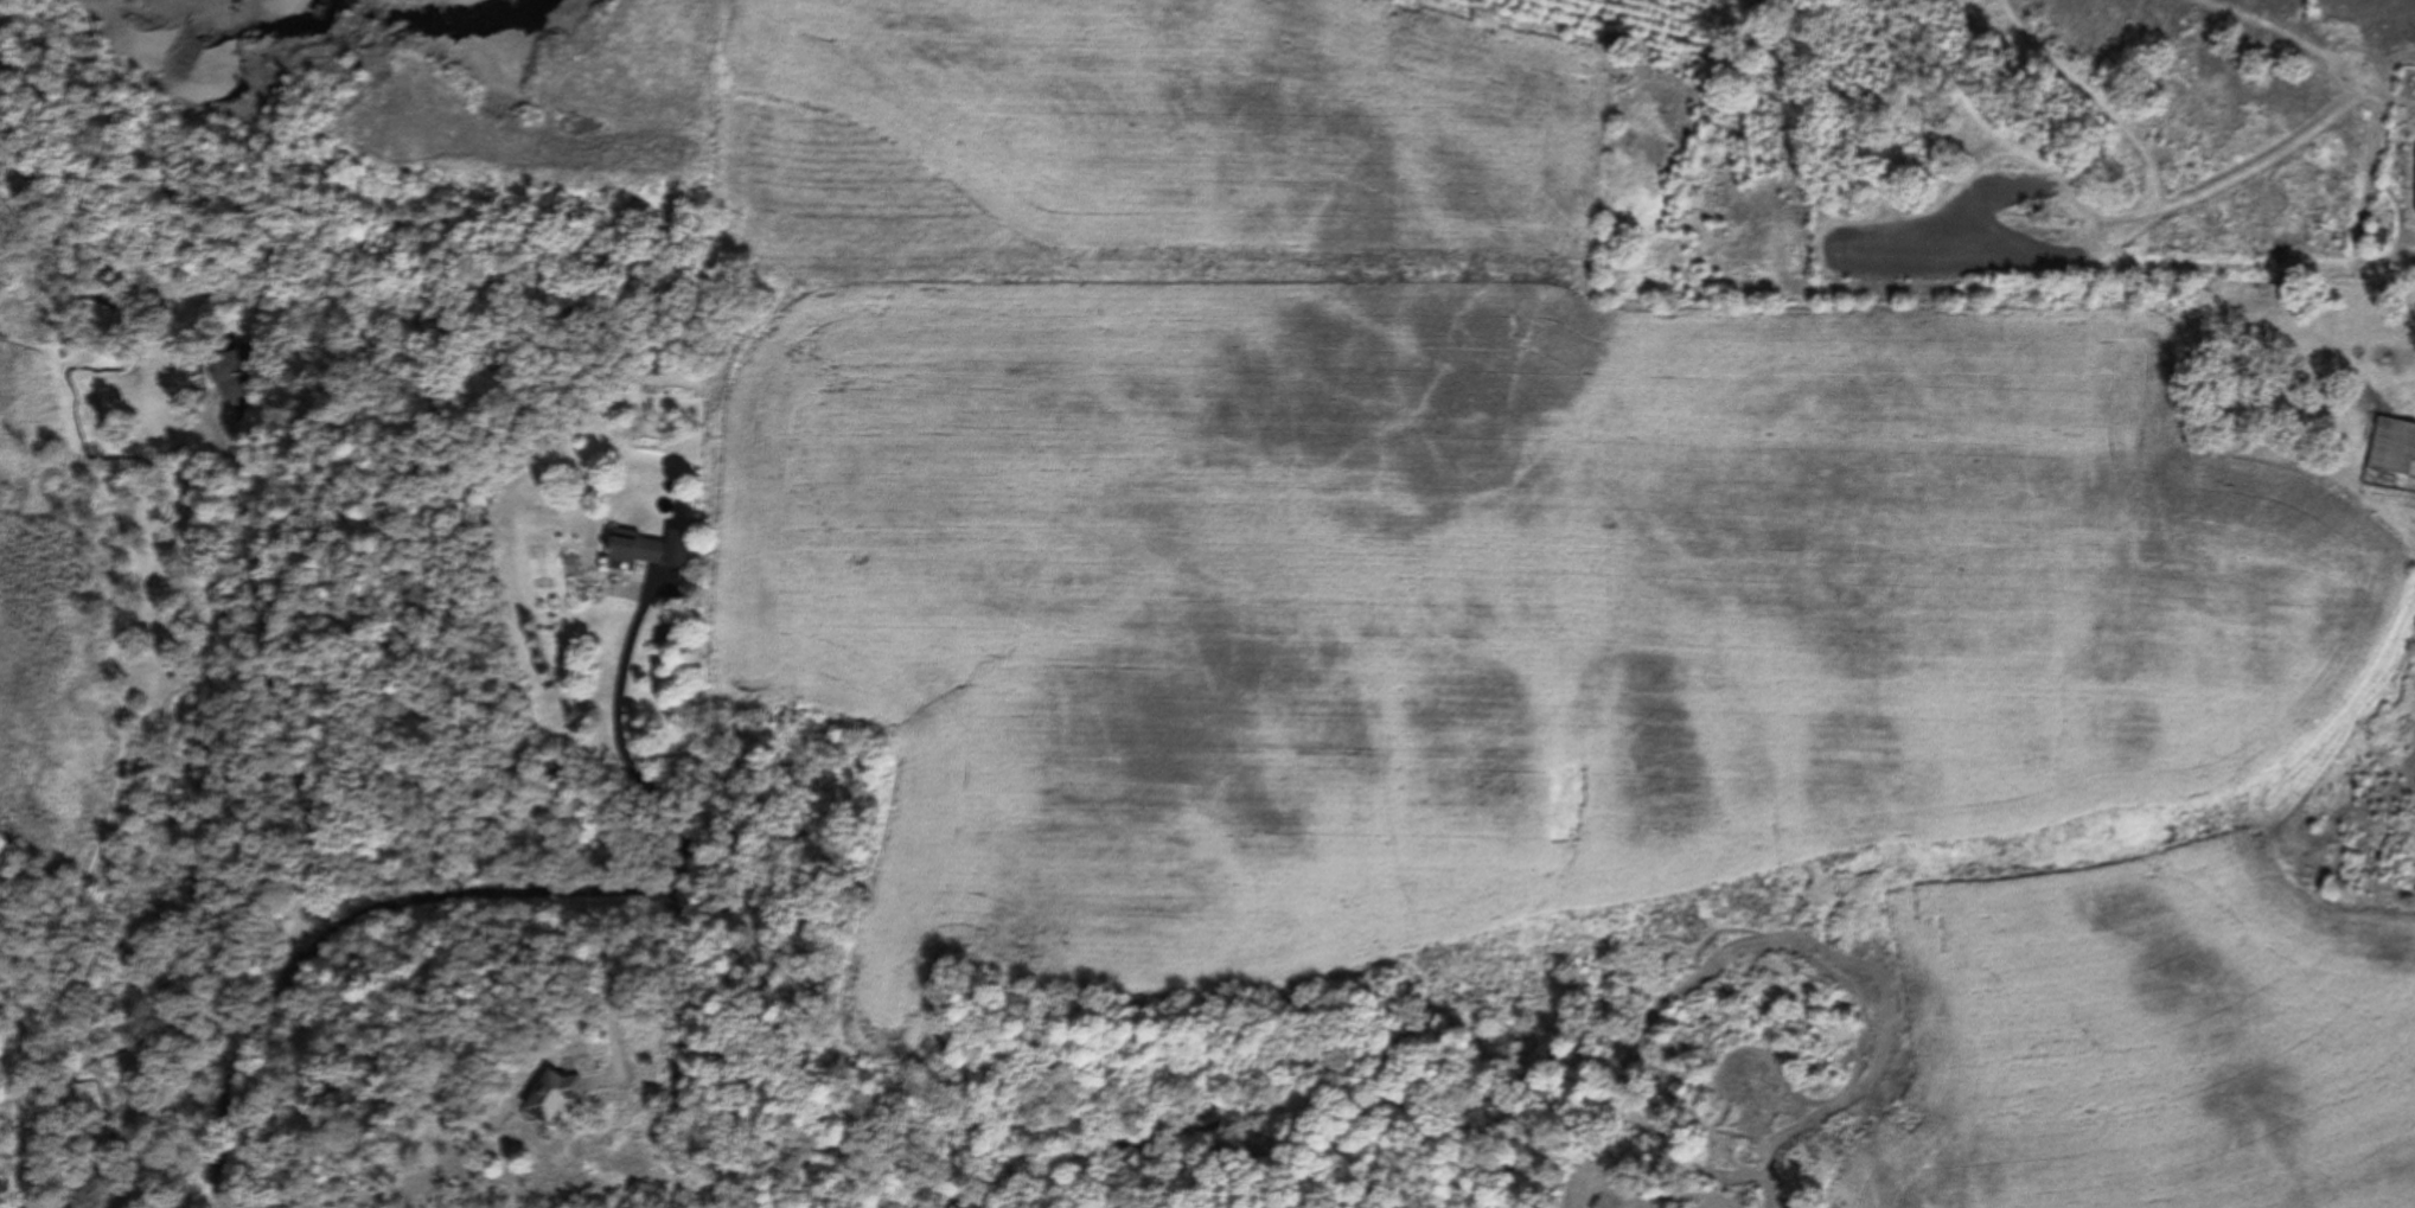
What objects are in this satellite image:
quarry: (370, 117)
building: (2384, 231)
building: (236, 376)
building: (2395, 446)
building: (640, 550)
road: (300, 813)
road: (638, 897)
road: (615, 990)
building: (558, 1099)

